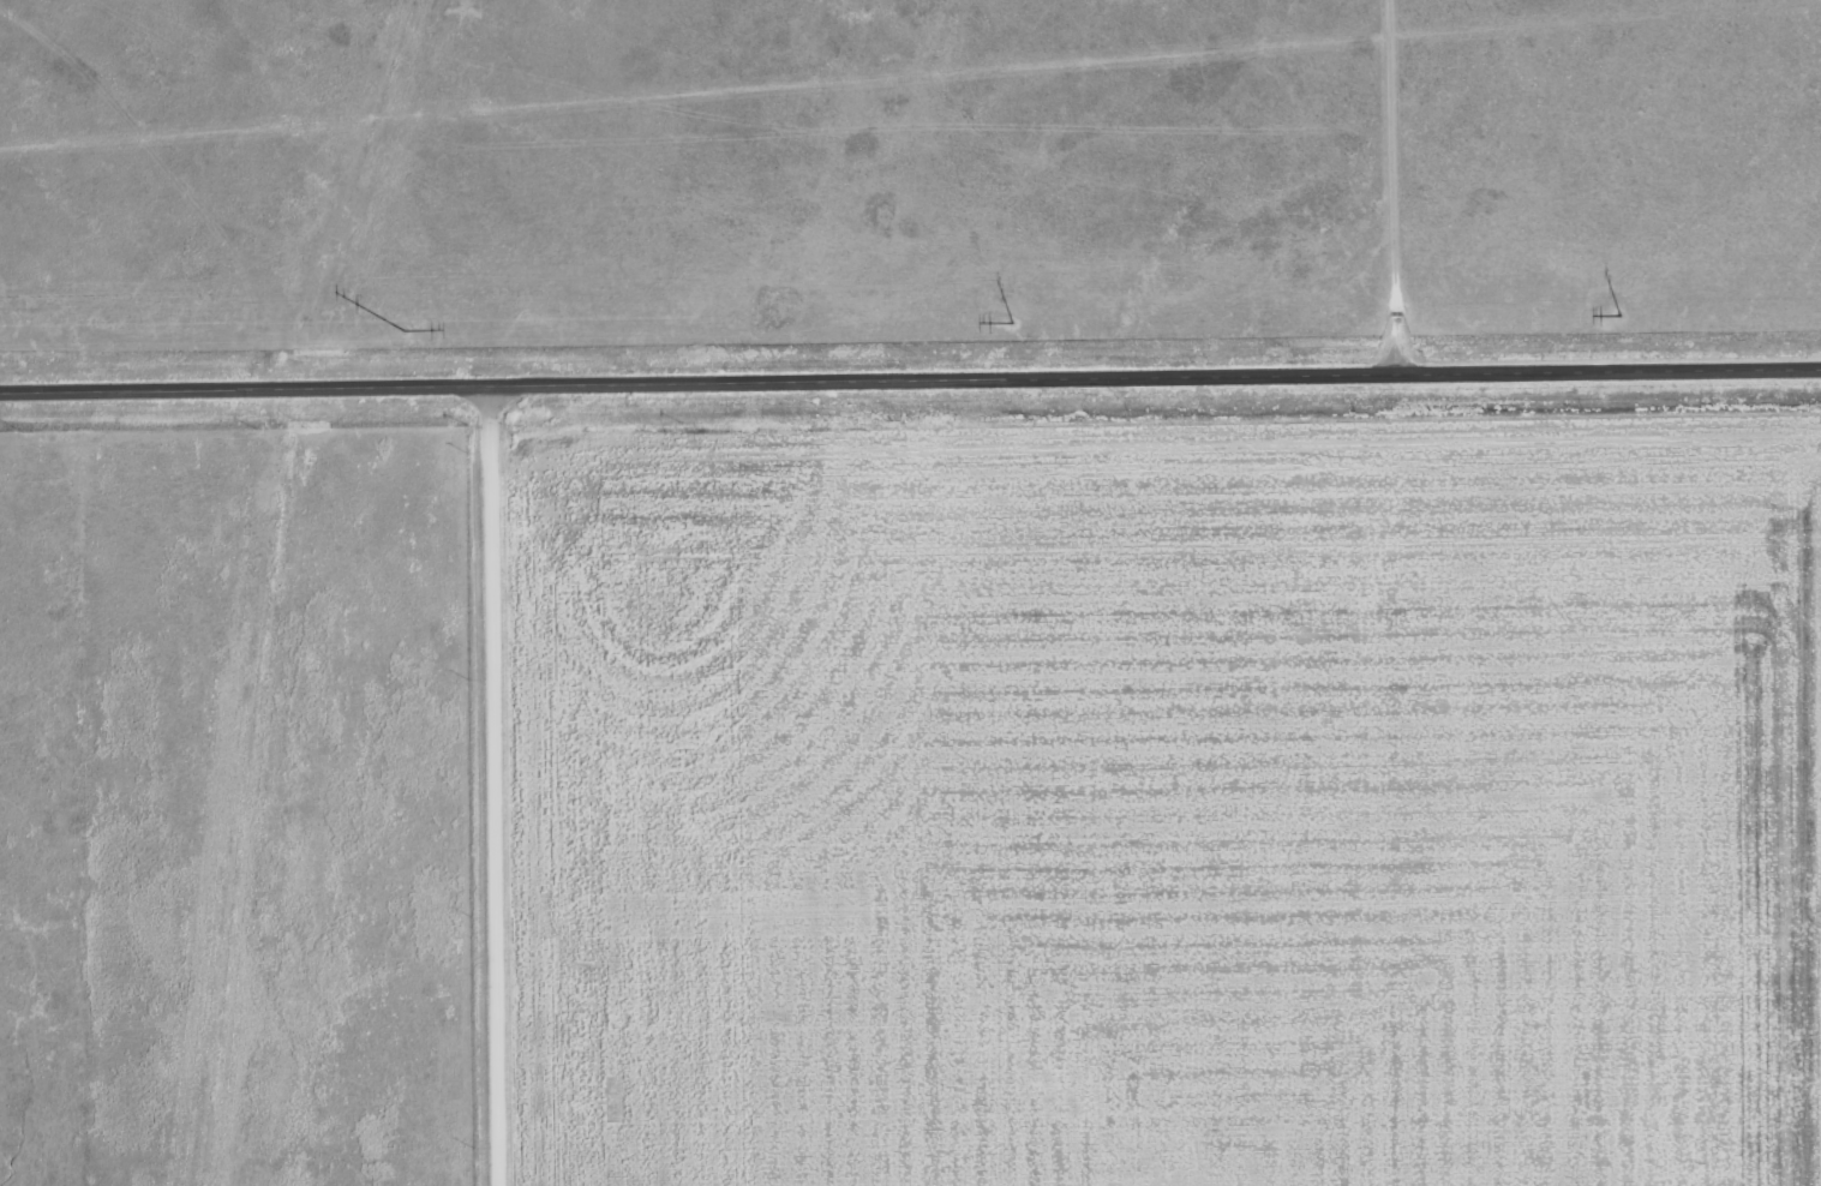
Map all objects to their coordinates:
road: (157, 182)
power tower: (1618, 315)
power tower: (1012, 323)
power tower: (402, 330)
road: (910, 376)
road: (498, 784)

